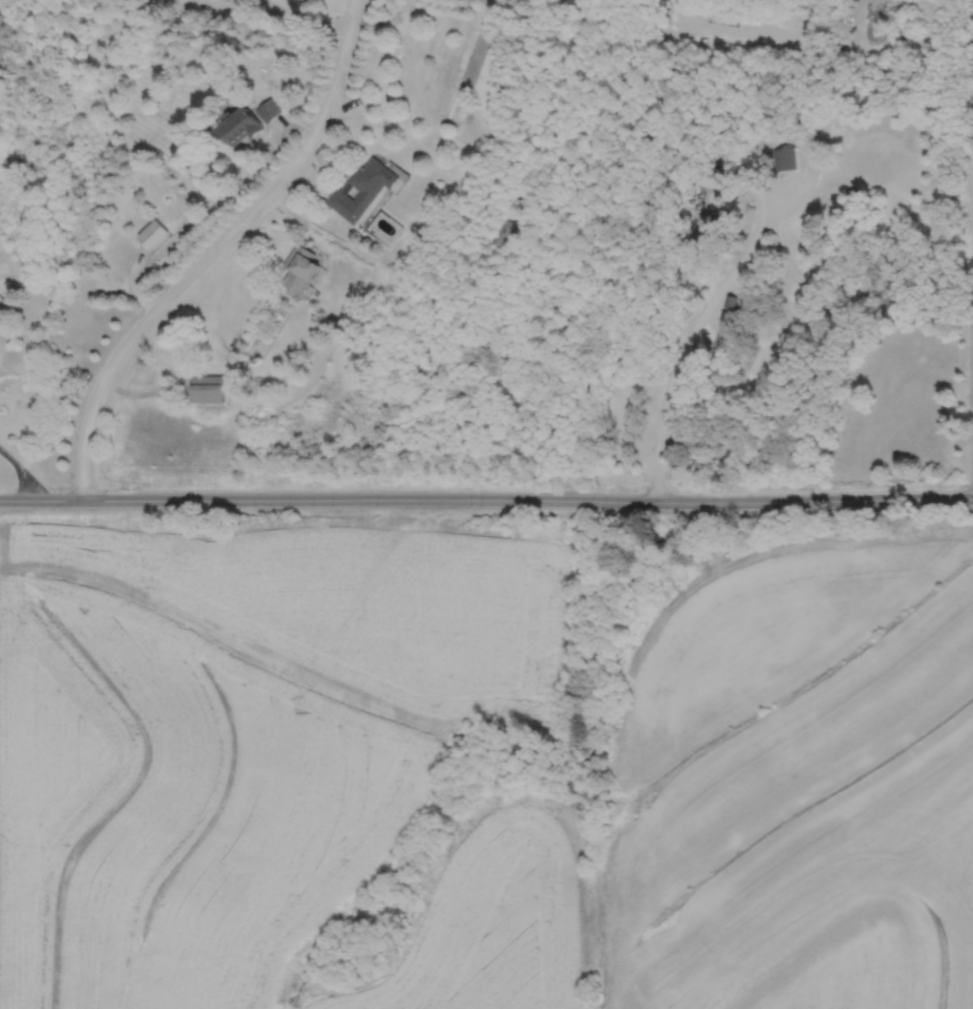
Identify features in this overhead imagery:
road: (219, 3)
road: (298, 15)
road: (971, 94)
building: (267, 110)
building: (239, 127)
building: (783, 158)
building: (703, 174)
building: (364, 190)
building: (833, 196)
building: (706, 228)
building: (152, 233)
building: (499, 234)
road: (217, 249)
building: (301, 270)
road: (694, 330)
building: (207, 387)
road: (18, 471)
road: (486, 500)
crop: (267, 758)
crop: (799, 789)

